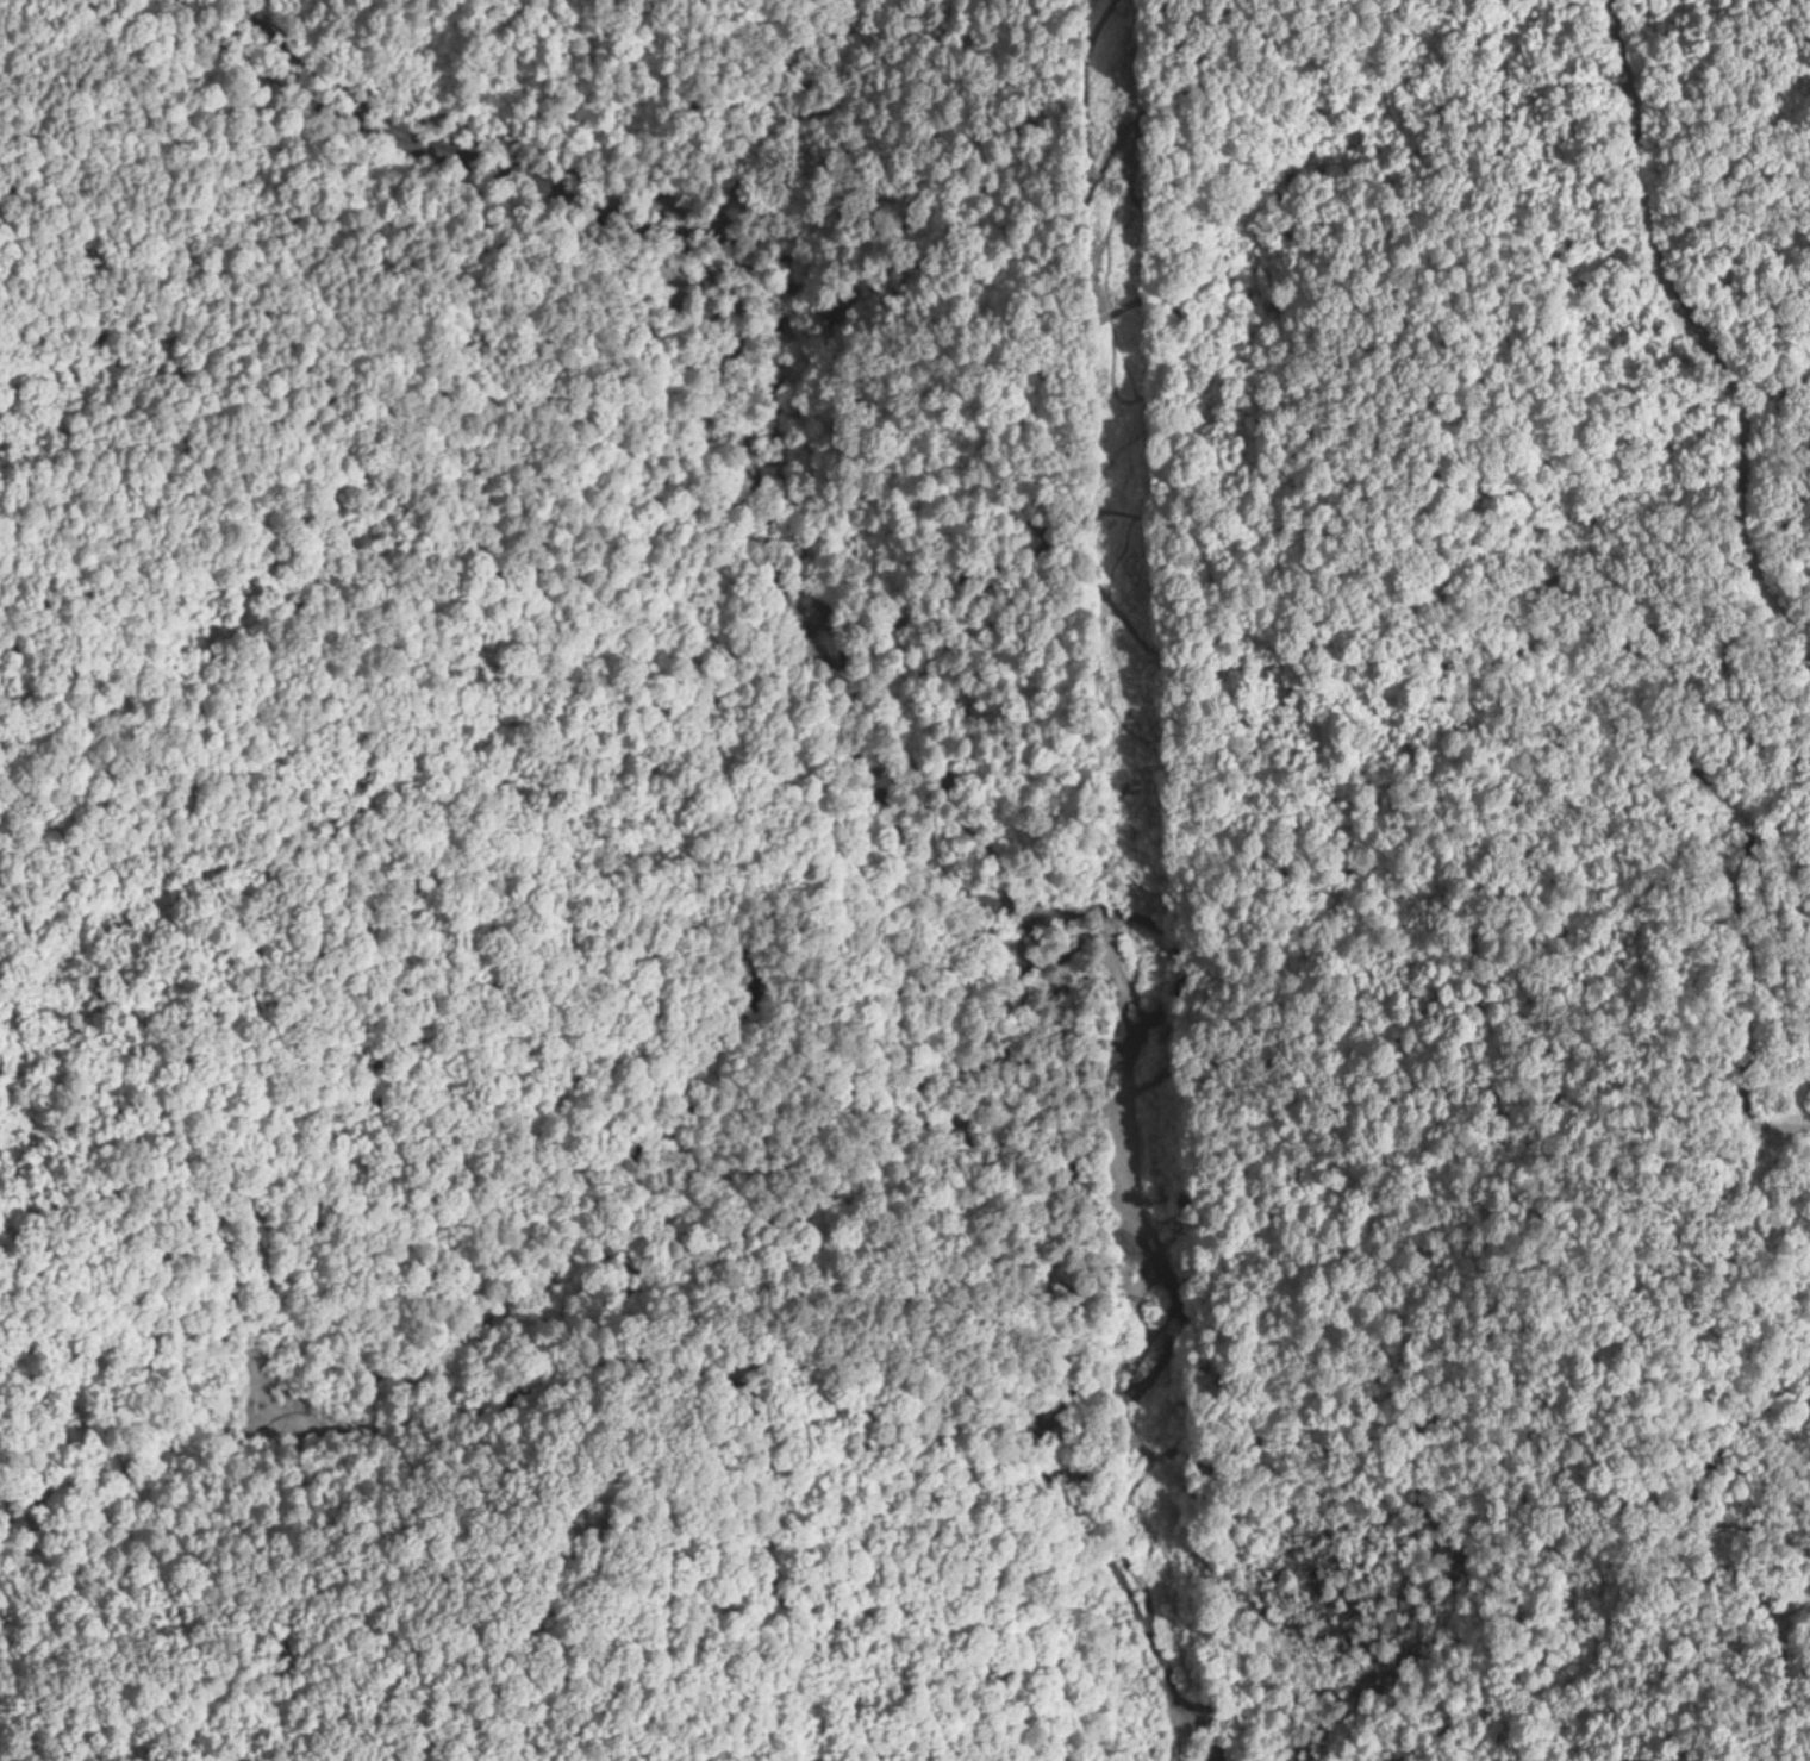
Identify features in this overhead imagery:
power tower: (1116, 182)
road: (854, 743)
power tower: (1134, 785)
road: (624, 842)
power tower: (1150, 1276)
road: (593, 1319)

